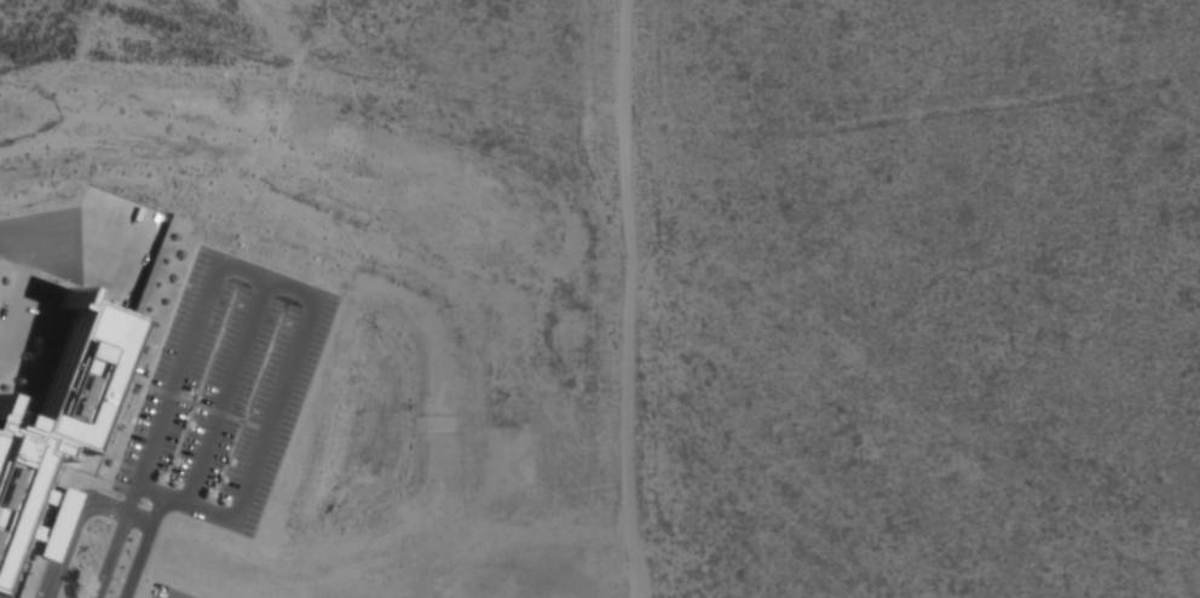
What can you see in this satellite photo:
road: (71, 234)
road: (266, 277)
road: (28, 291)
parking lot: (108, 295)
road: (610, 299)
road: (629, 299)
road: (179, 372)
road: (143, 381)
building: (114, 383)
road: (226, 390)
parking lot: (224, 391)
road: (127, 392)
road: (168, 392)
road: (195, 403)
road: (273, 407)
road: (218, 412)
road: (242, 421)
road: (252, 425)
building: (54, 429)
road: (262, 429)
road: (122, 445)
parking lot: (490, 475)
parking lot: (521, 475)
road: (506, 490)
road: (133, 493)
road: (184, 501)
road: (74, 517)
road: (142, 545)
road: (111, 550)
road: (388, 552)
road: (381, 575)
road: (434, 575)
road: (487, 575)
road: (535, 575)
road: (570, 575)
parking lot: (404, 582)
parking lot: (457, 583)
parking lot: (503, 585)
parking lot: (363, 586)
parking lot: (190, 587)
road: (45, 594)
building: (288, 596)

